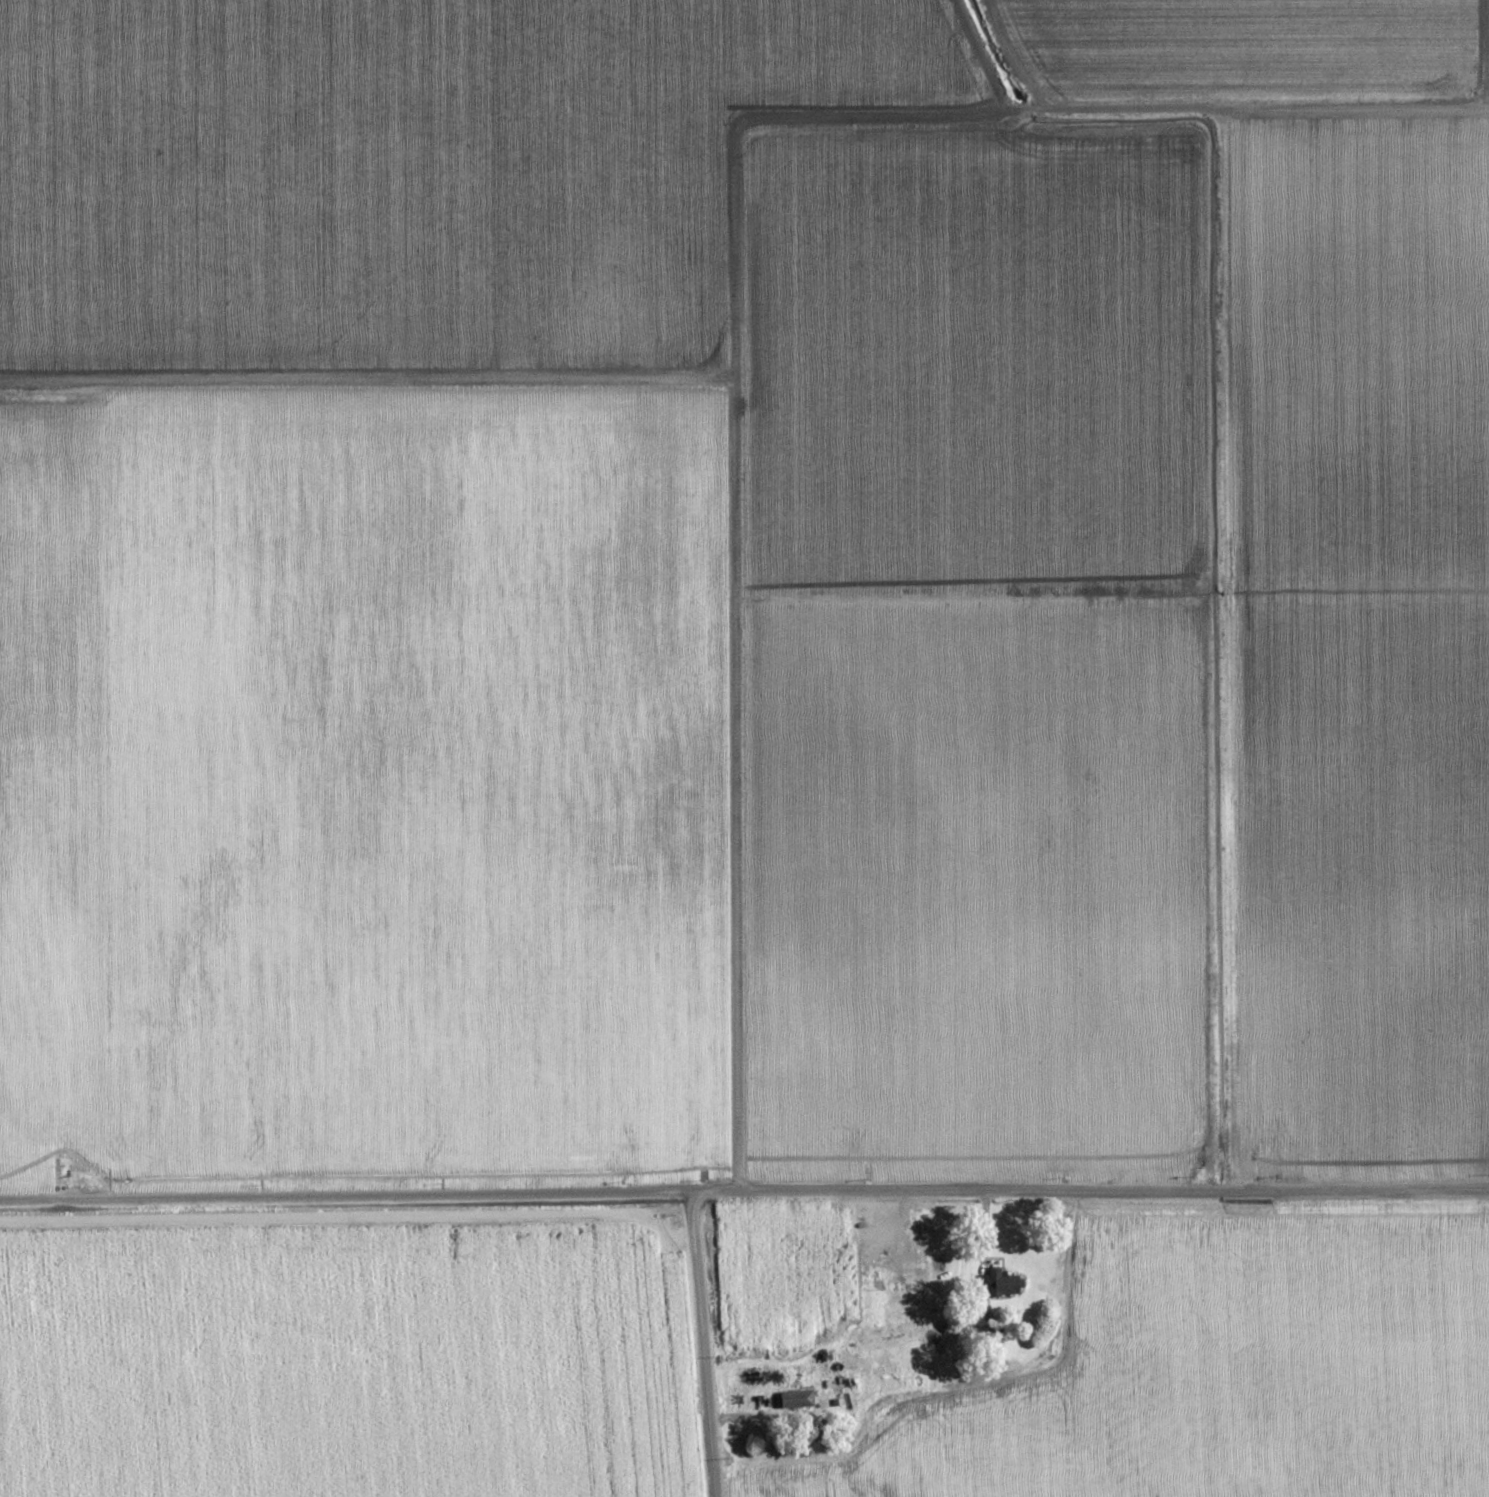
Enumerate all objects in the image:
road: (1011, 113)
road: (744, 1204)
building: (999, 1283)
road: (697, 1351)
building: (795, 1399)

